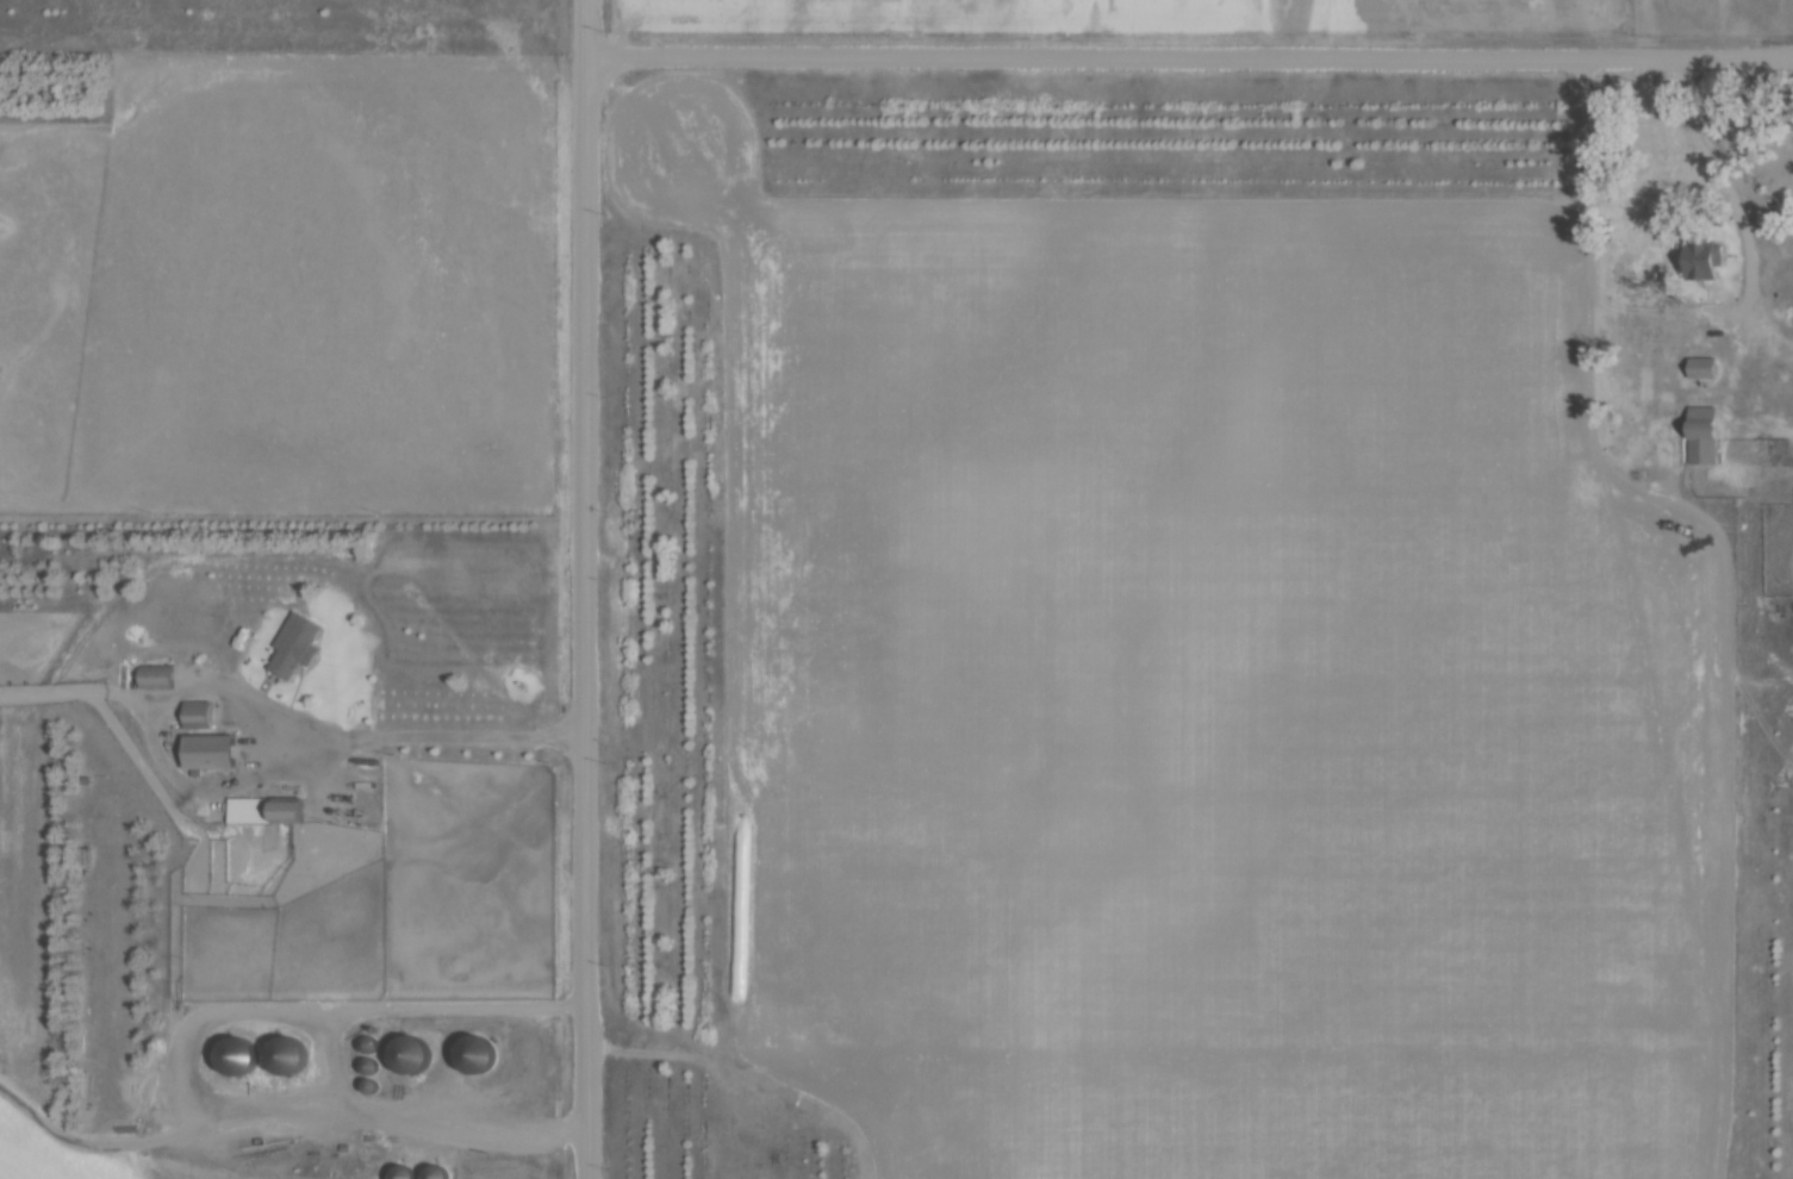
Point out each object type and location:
crop: (1263, 13)
road: (1190, 55)
road: (1729, 183)
building: (1704, 258)
crop: (285, 289)
building: (1791, 314)
building: (1704, 366)
building: (1702, 435)
building: (1792, 450)
road: (587, 589)
building: (294, 648)
building: (158, 674)
crop: (1199, 685)
road: (75, 686)
building: (201, 712)
building: (210, 751)
road: (247, 778)
building: (267, 809)
road: (310, 1011)
building: (368, 1043)
silo: (368, 1043)
building: (480, 1052)
silo: (480, 1052)
building: (287, 1055)
silo: (287, 1055)
building: (411, 1055)
silo: (411, 1055)
building: (235, 1056)
silo: (235, 1056)
building: (372, 1066)
silo: (372, 1066)
building: (371, 1088)
silo: (371, 1088)
road: (287, 1121)
crop: (66, 1158)
building: (404, 1172)
silo: (404, 1172)
building: (438, 1172)
silo: (438, 1172)

